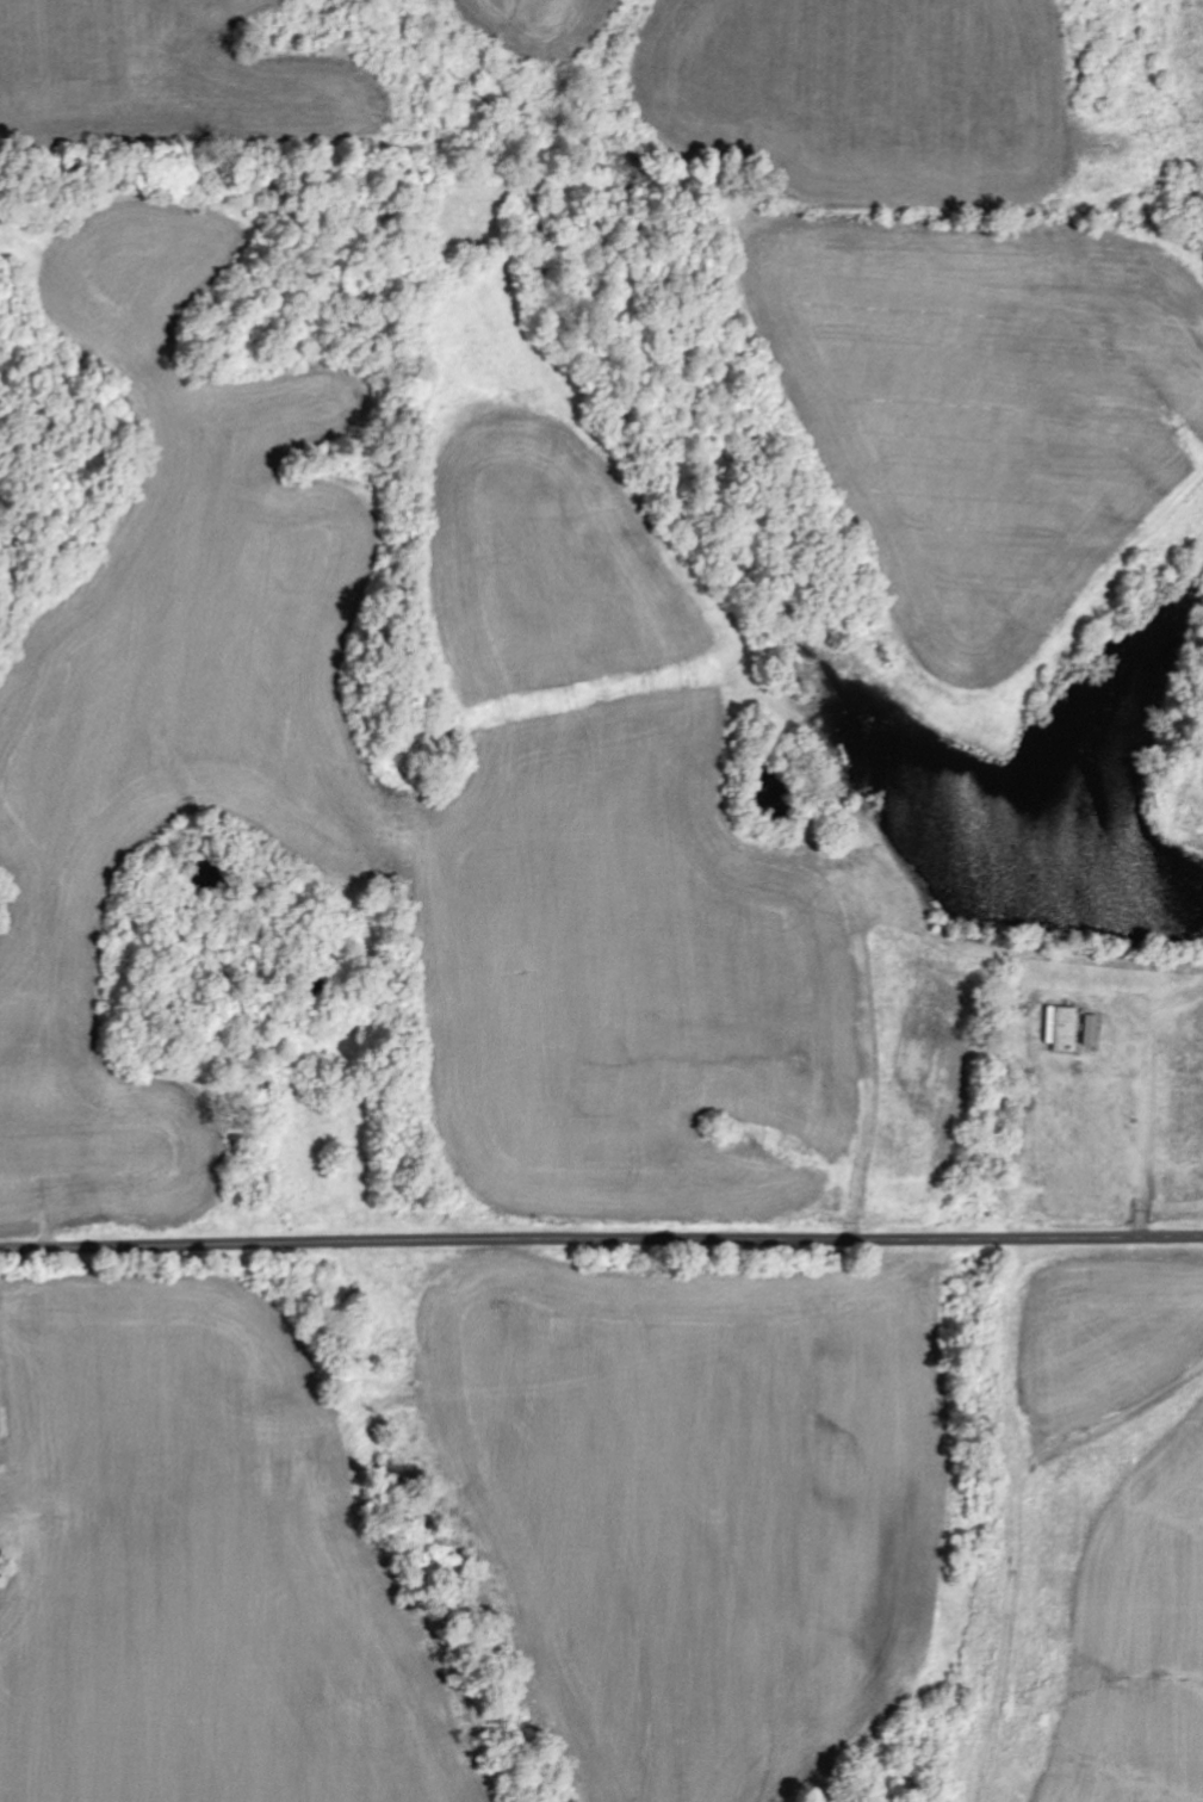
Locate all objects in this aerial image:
building: (1058, 1029)
building: (1086, 1032)
road: (601, 1233)

